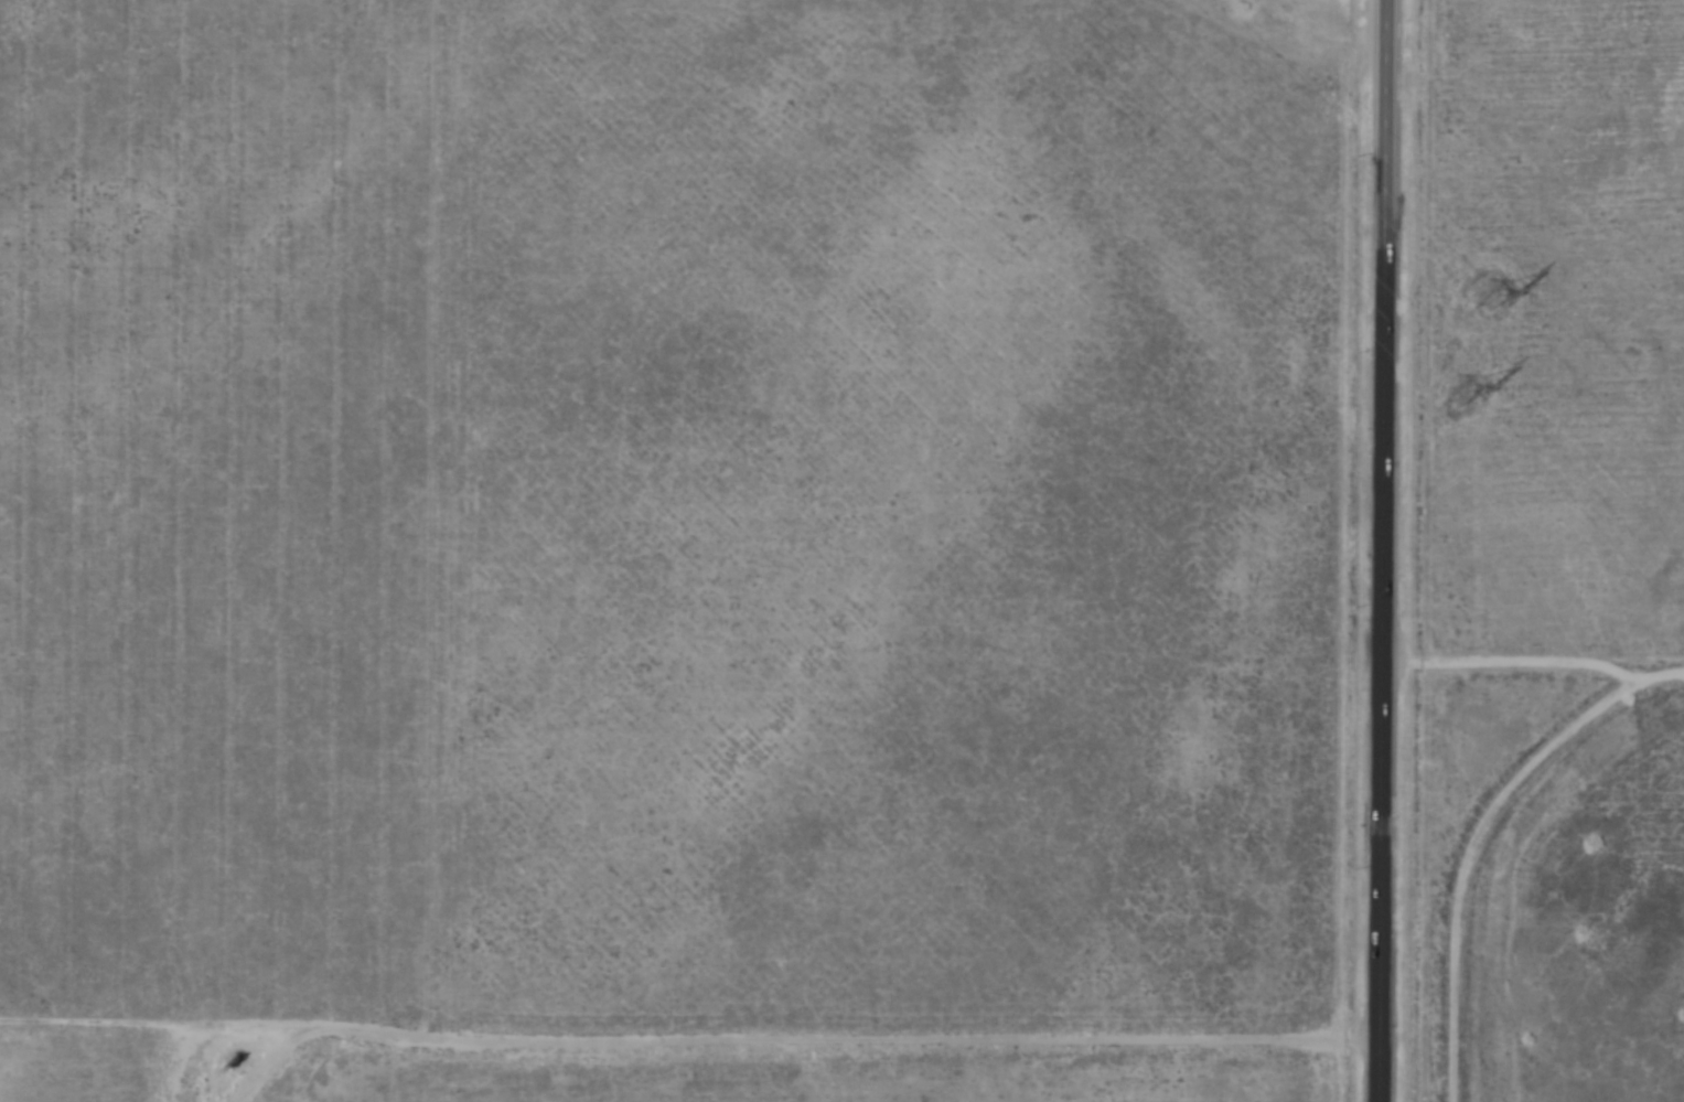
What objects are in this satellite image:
road: (1285, 71)
power tower: (1488, 292)
power tower: (1459, 387)
road: (1380, 550)
road: (676, 918)
road: (265, 1067)

